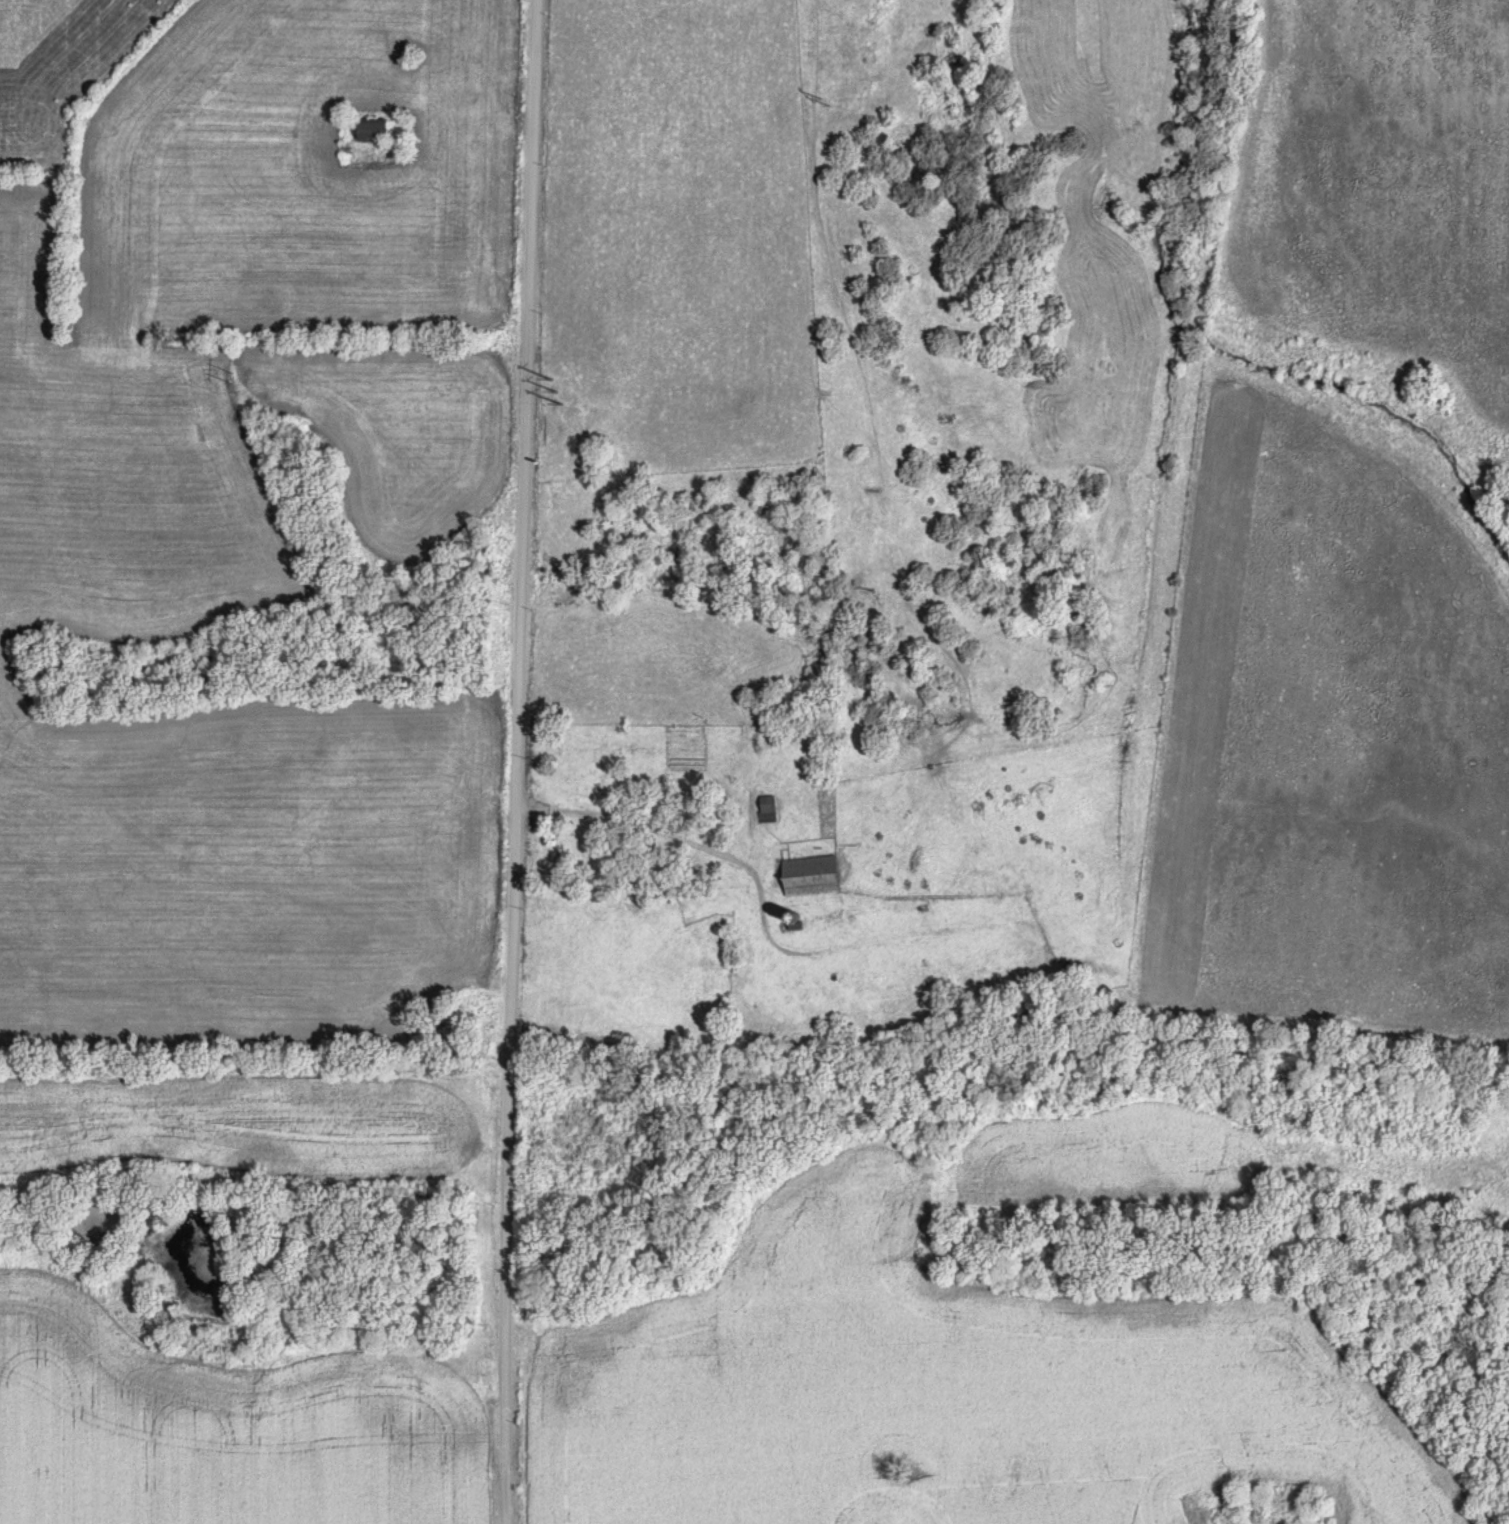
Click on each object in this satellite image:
building: (370, 129)
road: (516, 761)
building: (765, 808)
building: (808, 875)

